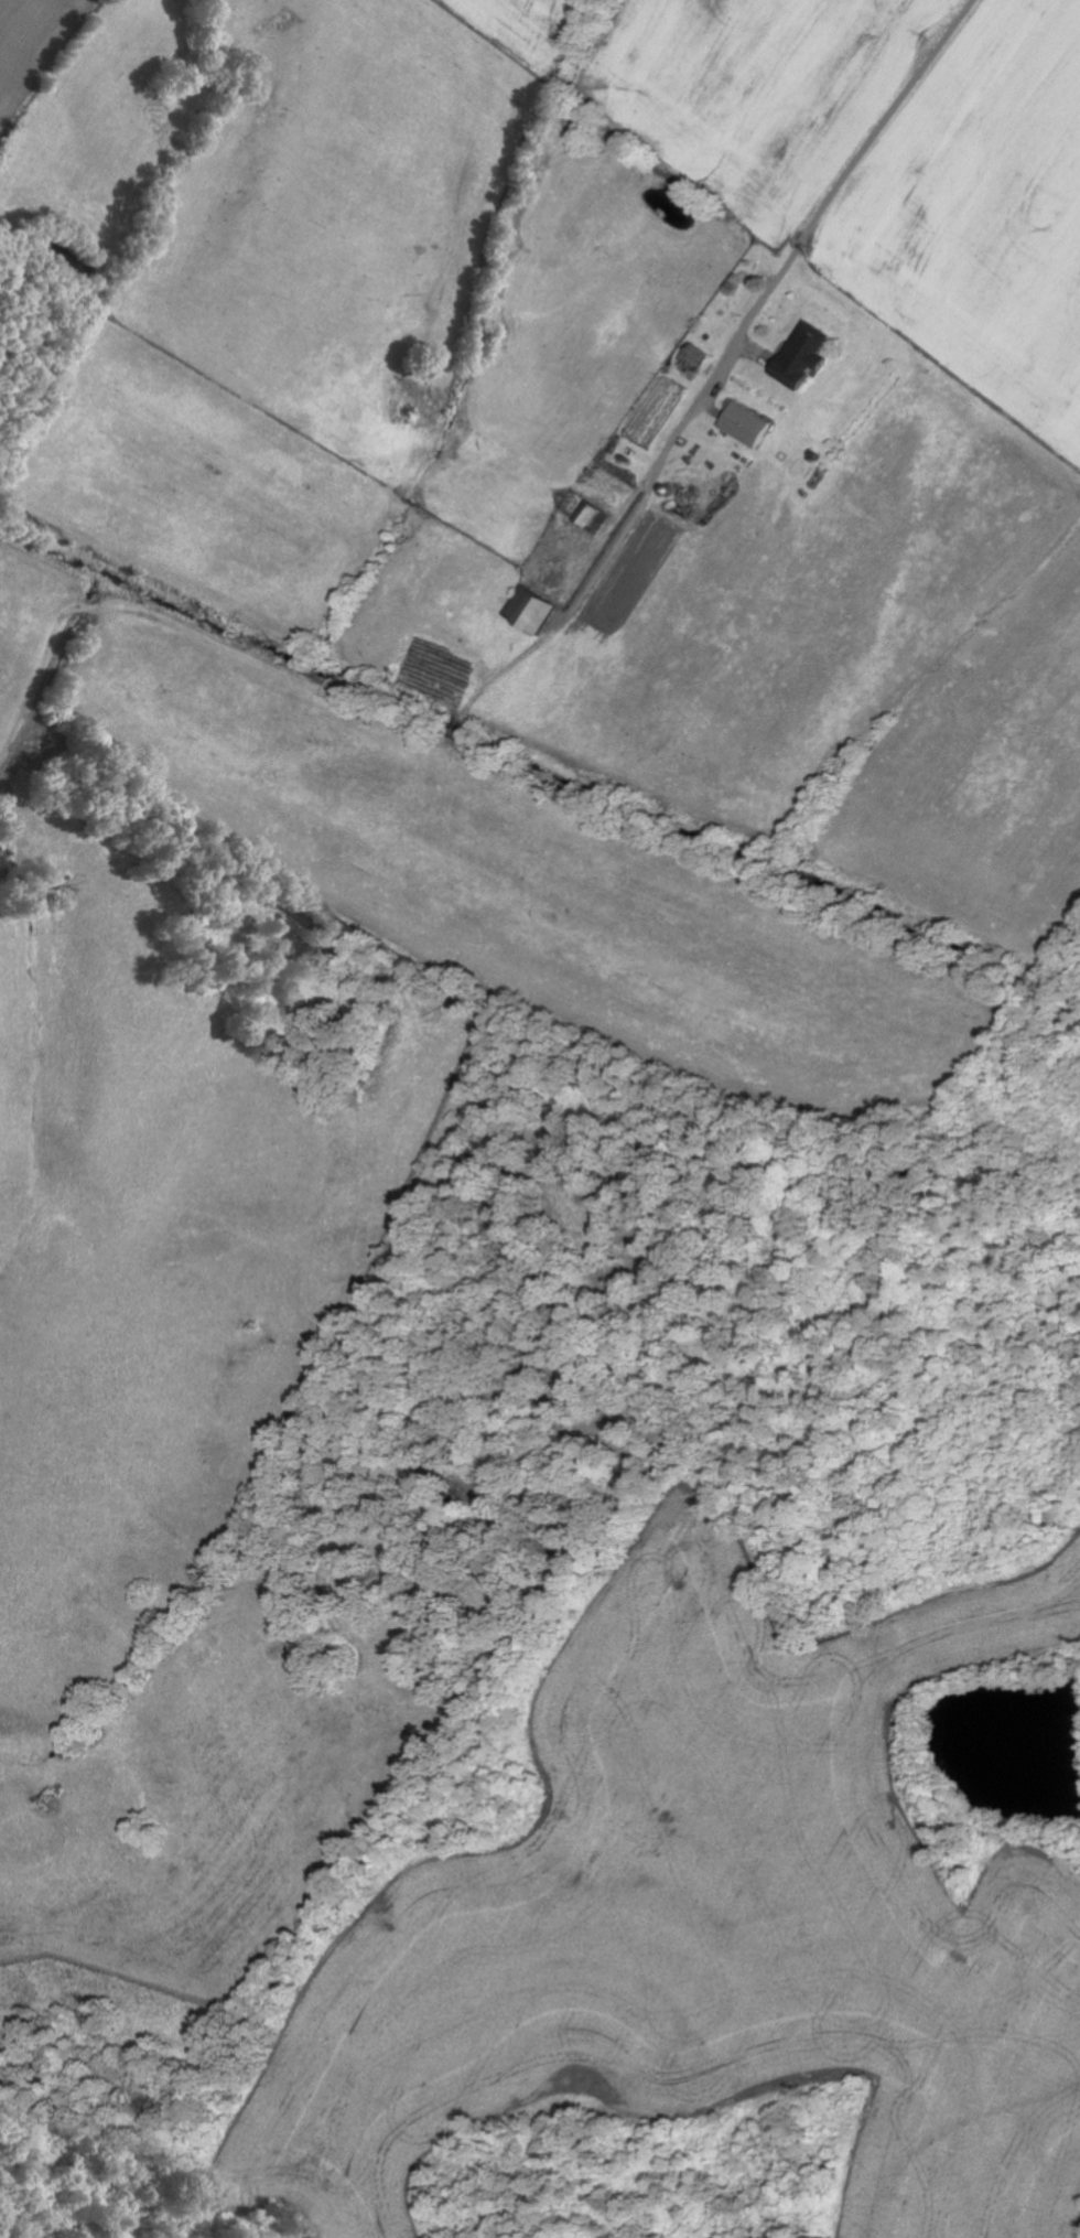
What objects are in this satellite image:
road: (762, 305)
building: (802, 355)
building: (694, 356)
building: (747, 424)
building: (596, 520)
building: (531, 611)
road: (1061, 2229)

